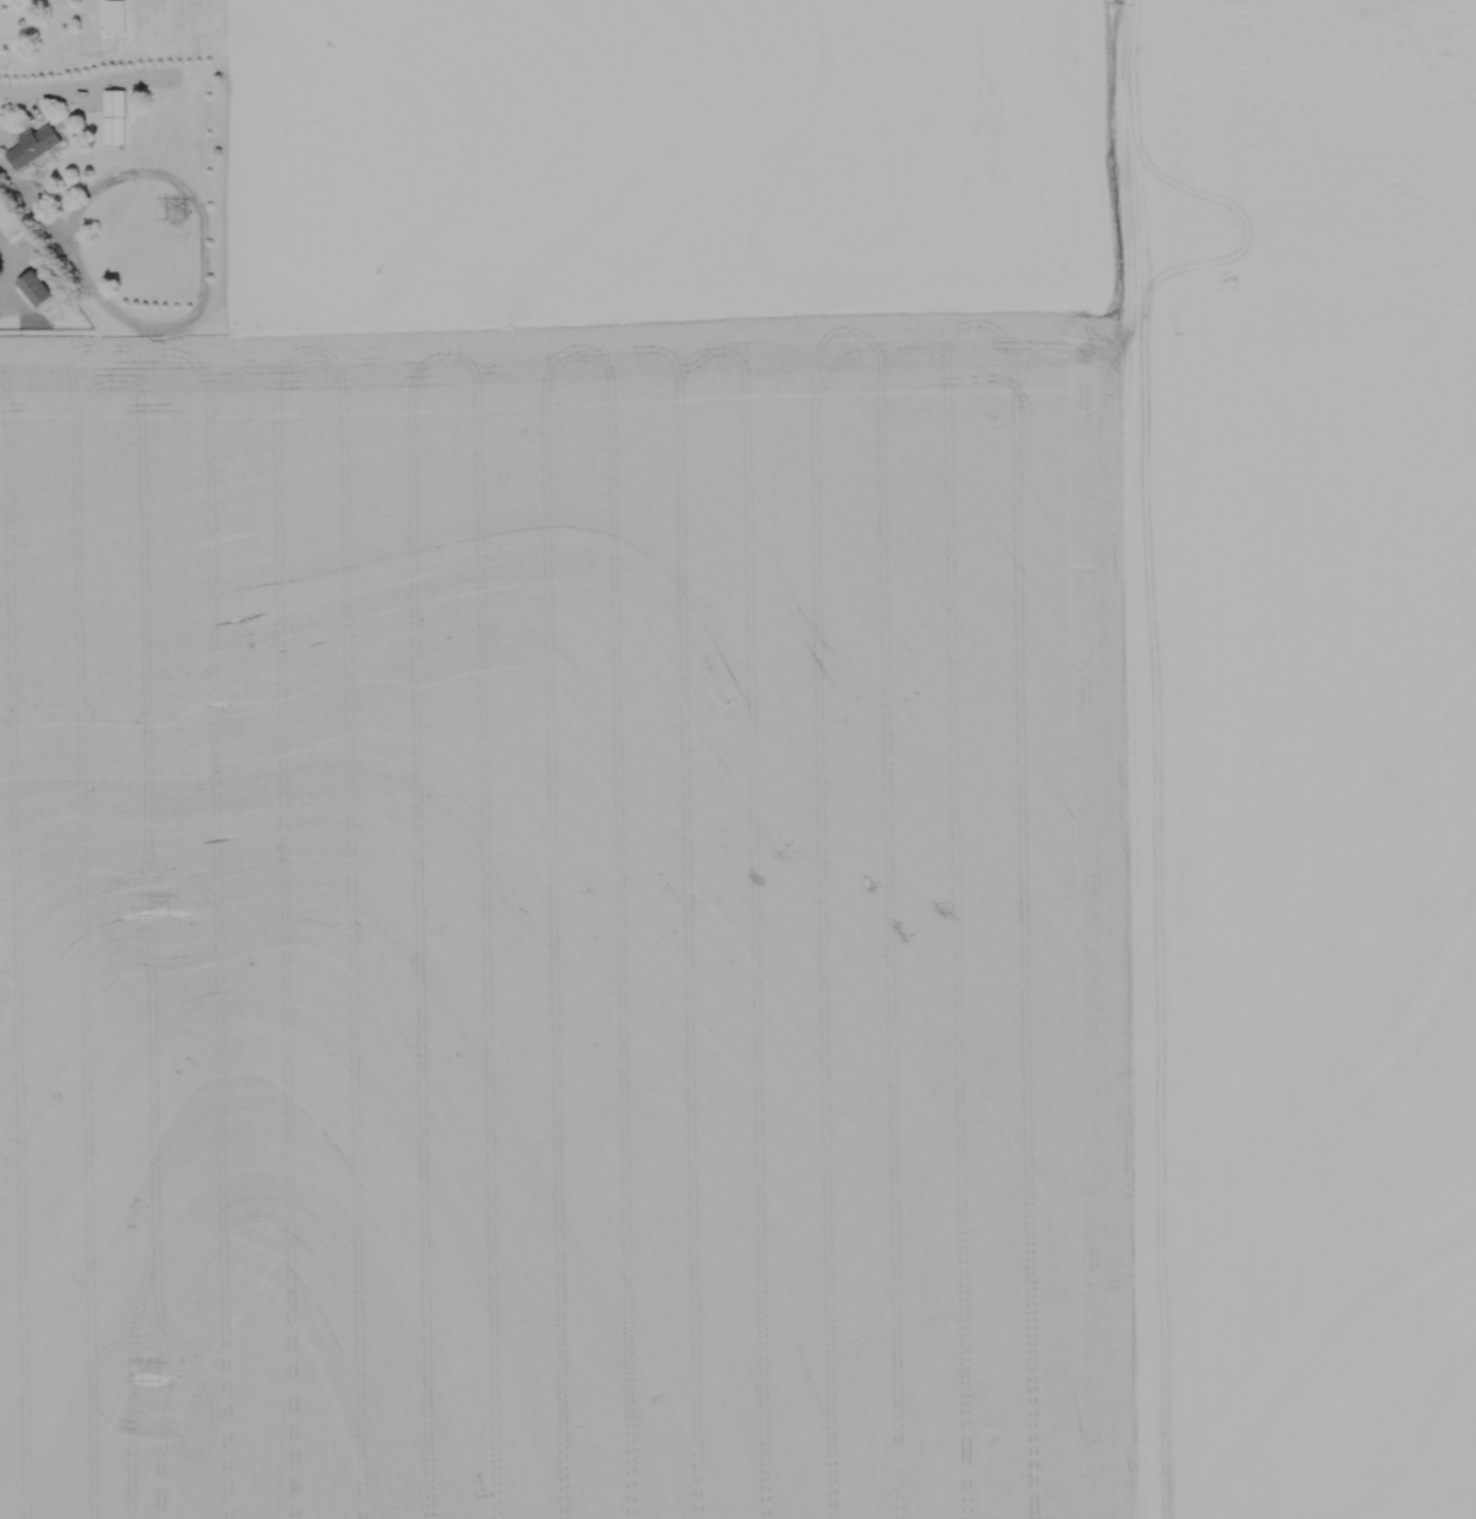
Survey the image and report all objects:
building: (117, 18)
road: (19, 100)
building: (116, 120)
building: (35, 147)
power tower: (177, 219)
road: (2, 244)
building: (37, 290)
power tower: (160, 917)
power tower: (149, 1382)

